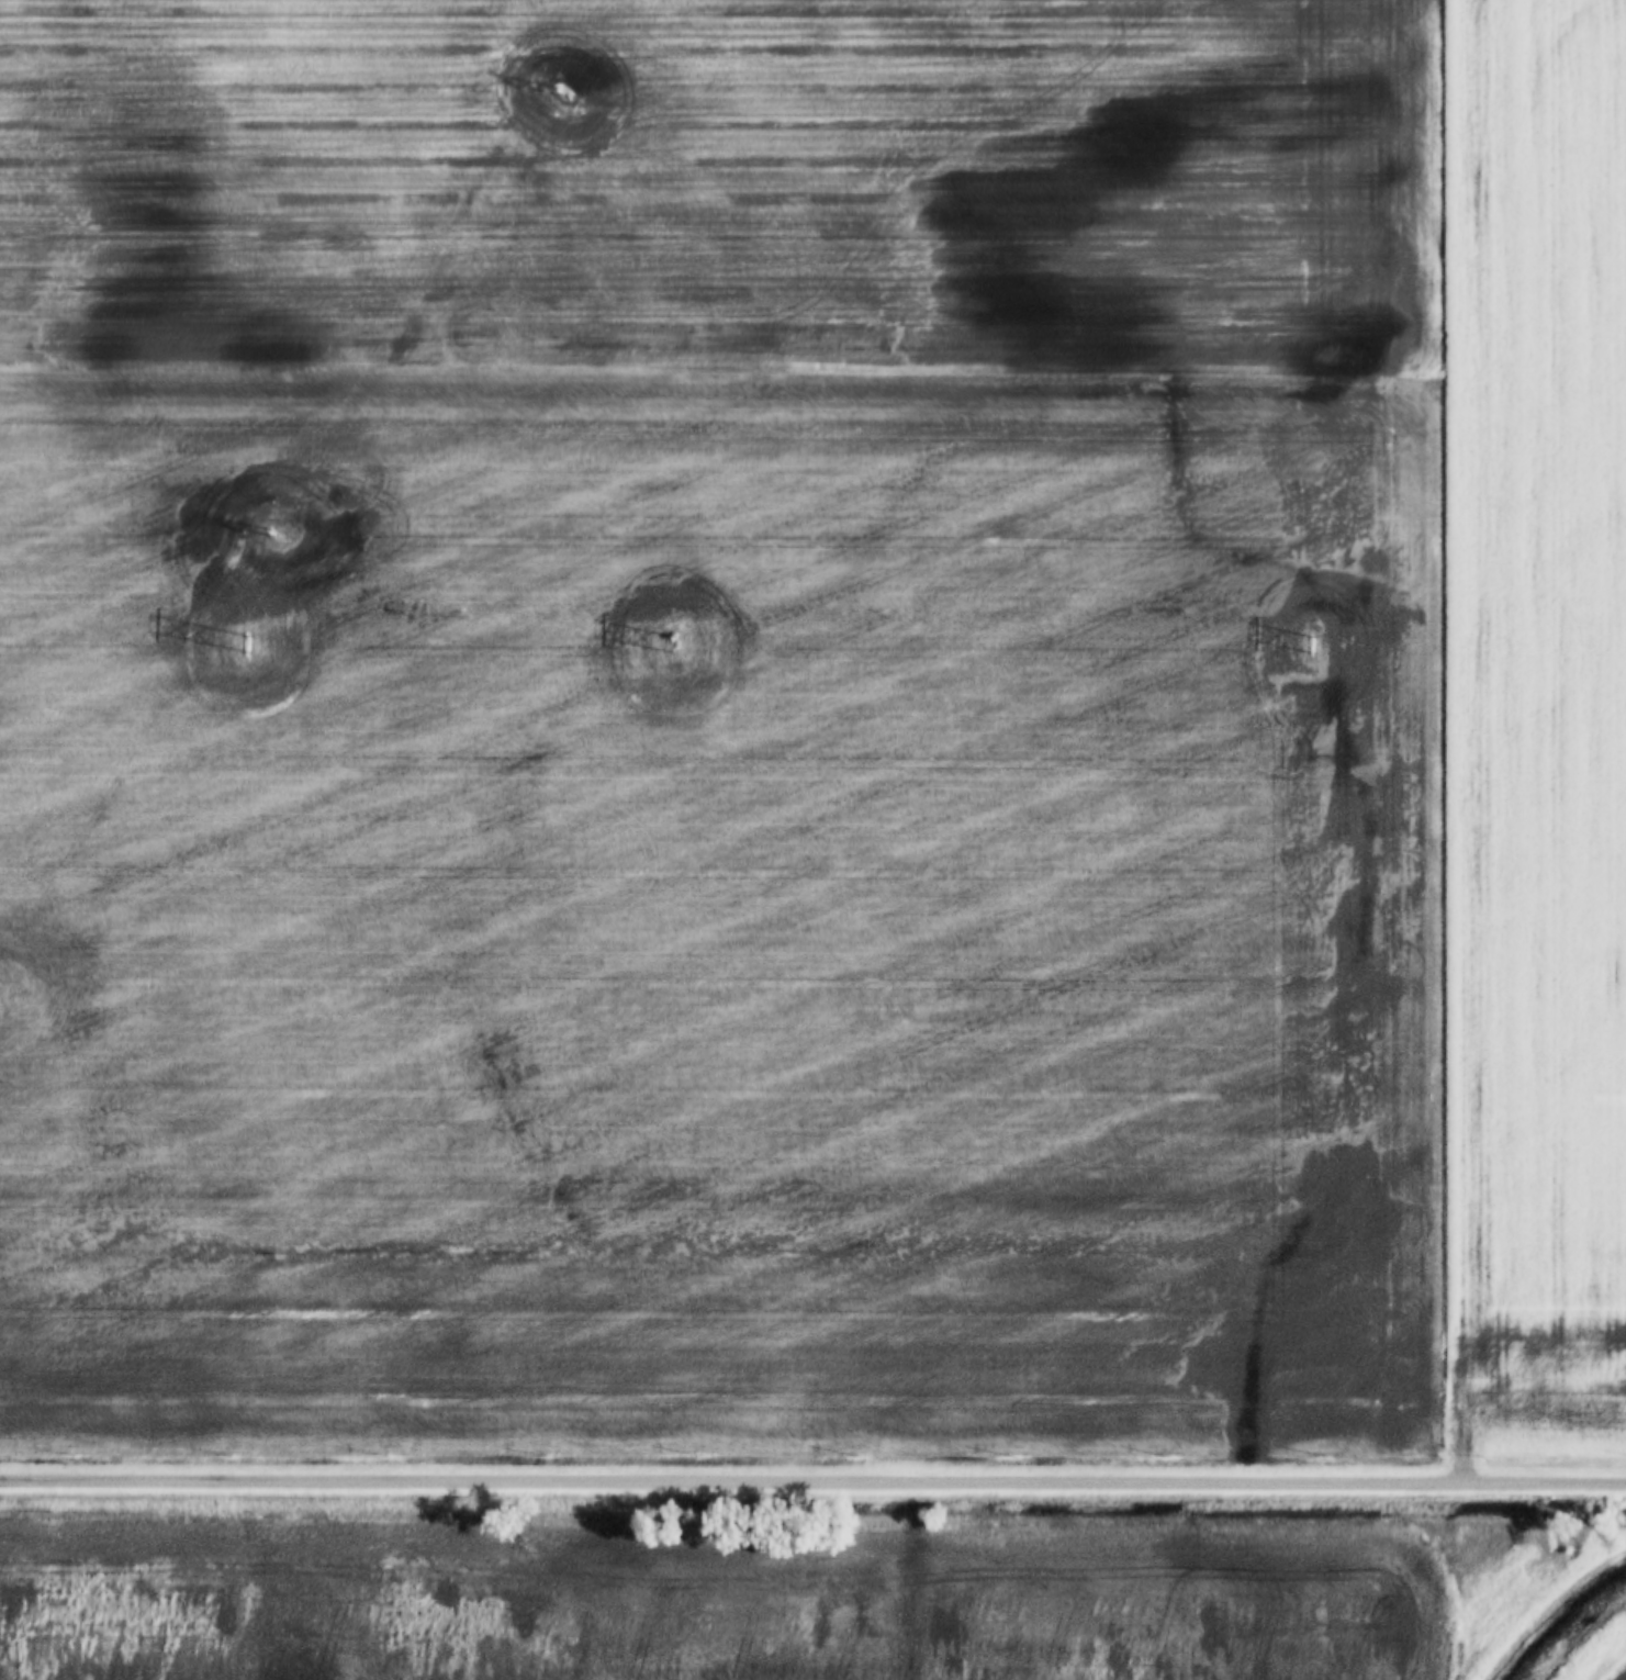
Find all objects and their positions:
power tower: (567, 94)
power tower: (271, 537)
power tower: (245, 645)
power tower: (682, 647)
power tower: (1317, 647)
crop: (814, 721)
road: (812, 1478)
crop: (728, 1602)
crop: (1619, 1673)

